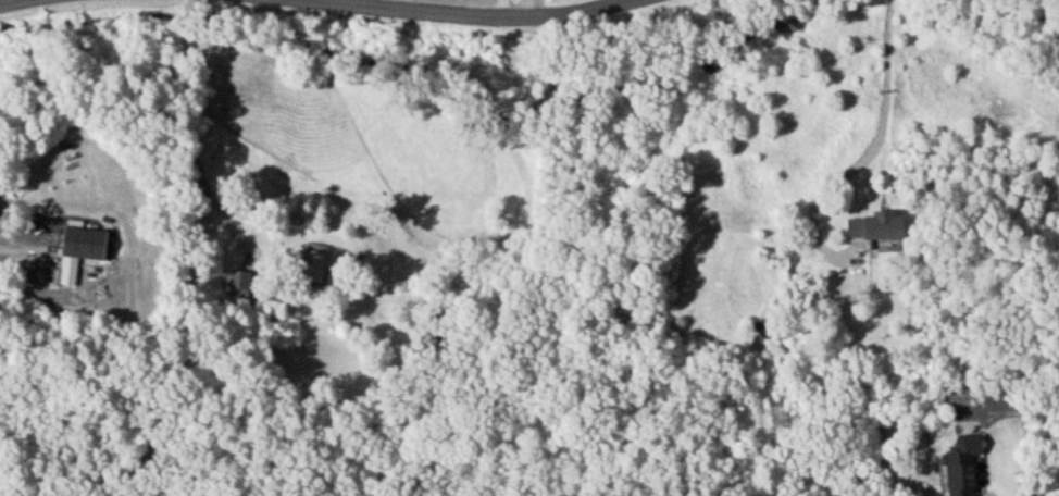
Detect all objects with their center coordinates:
road: (8, 1)
road: (204, 2)
road: (520, 9)
road: (465, 14)
road: (204, 16)
road: (191, 147)
road: (867, 152)
building: (874, 225)
building: (78, 249)
building: (311, 261)
building: (238, 282)
building: (757, 330)
road: (1018, 409)
building: (961, 466)

